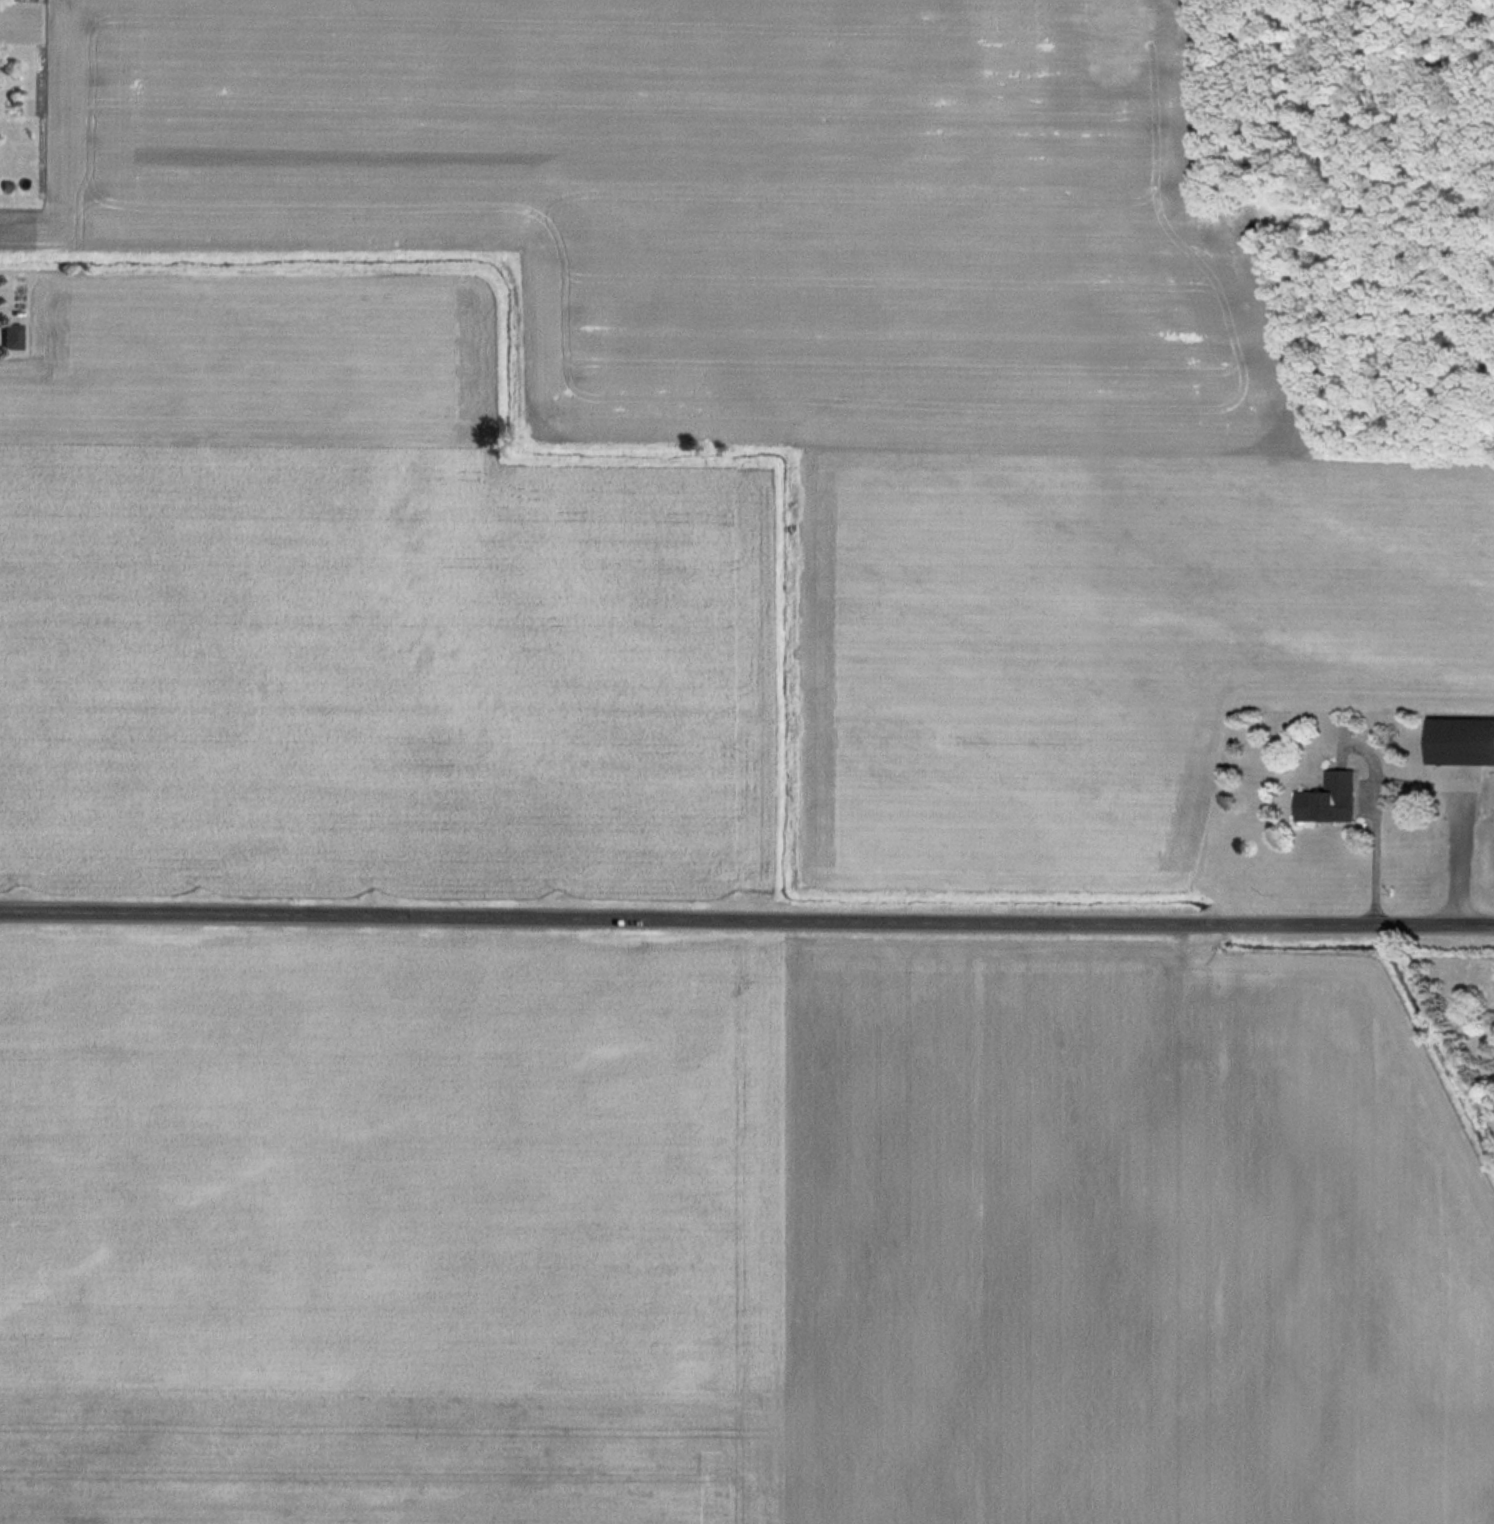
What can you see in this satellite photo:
building: (12, 336)
building: (1463, 741)
road: (1414, 778)
building: (1332, 798)
road: (746, 920)

